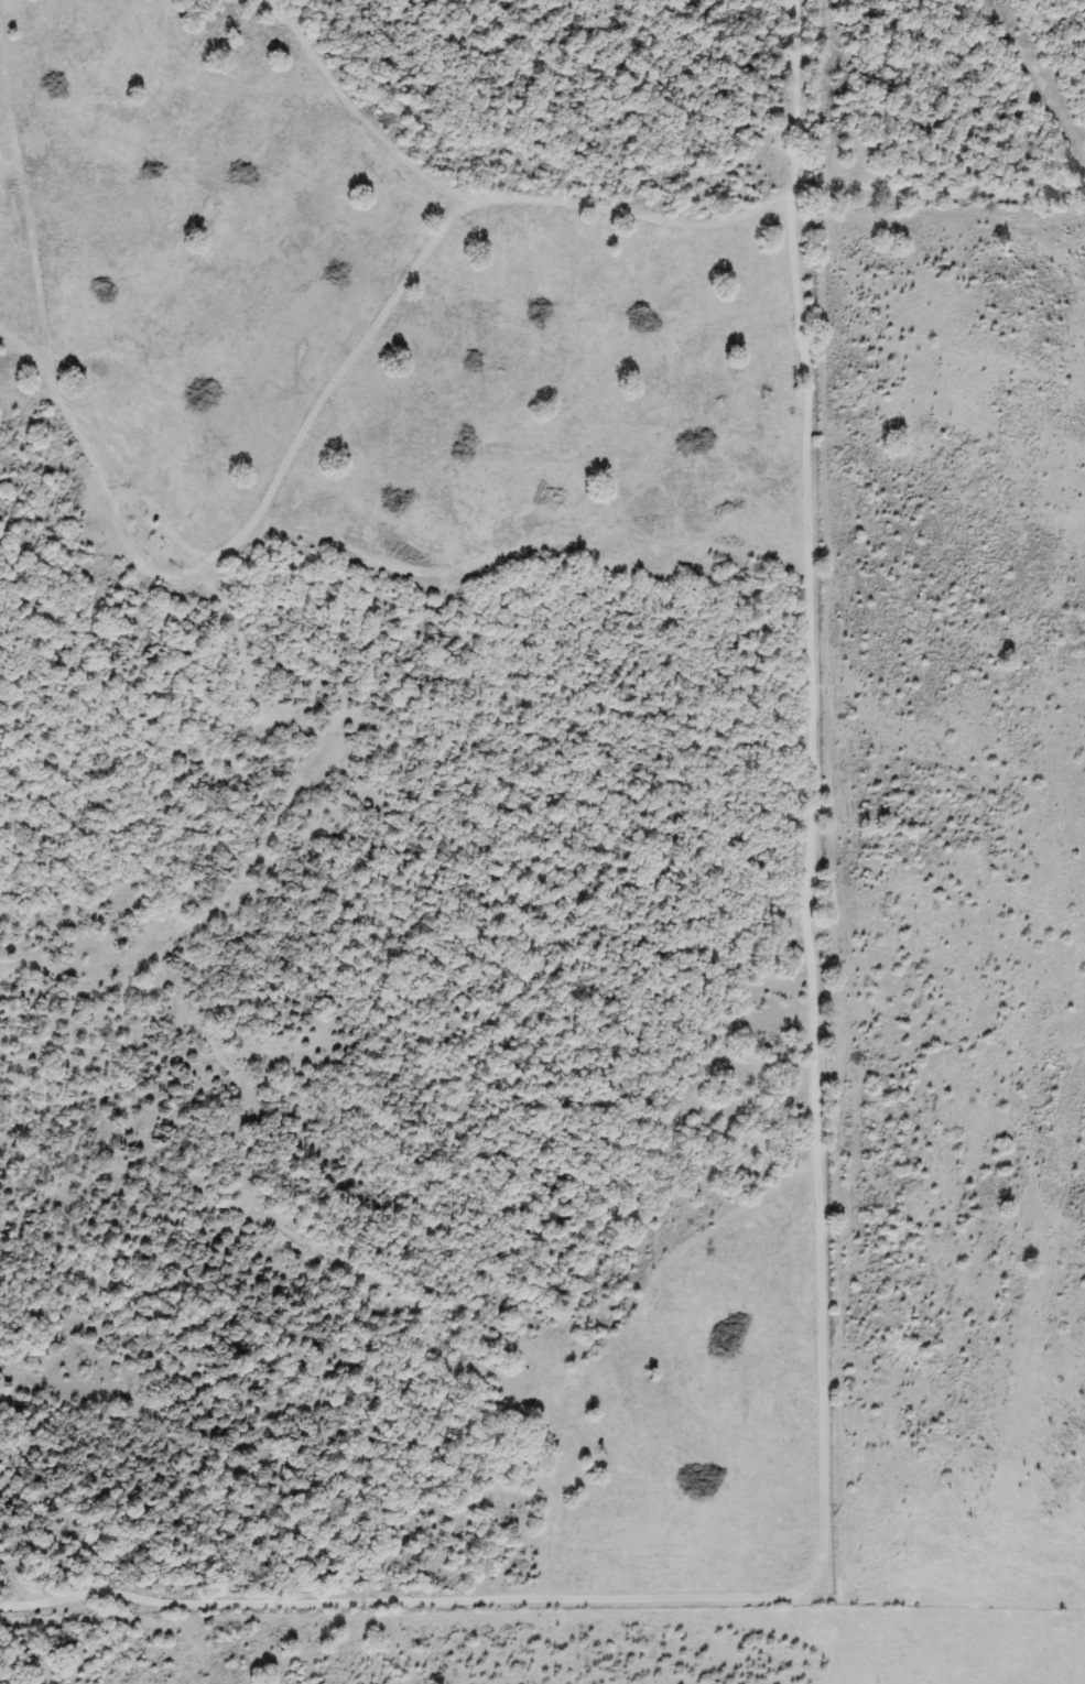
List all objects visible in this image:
power tower: (996, 6)
road: (554, 197)

